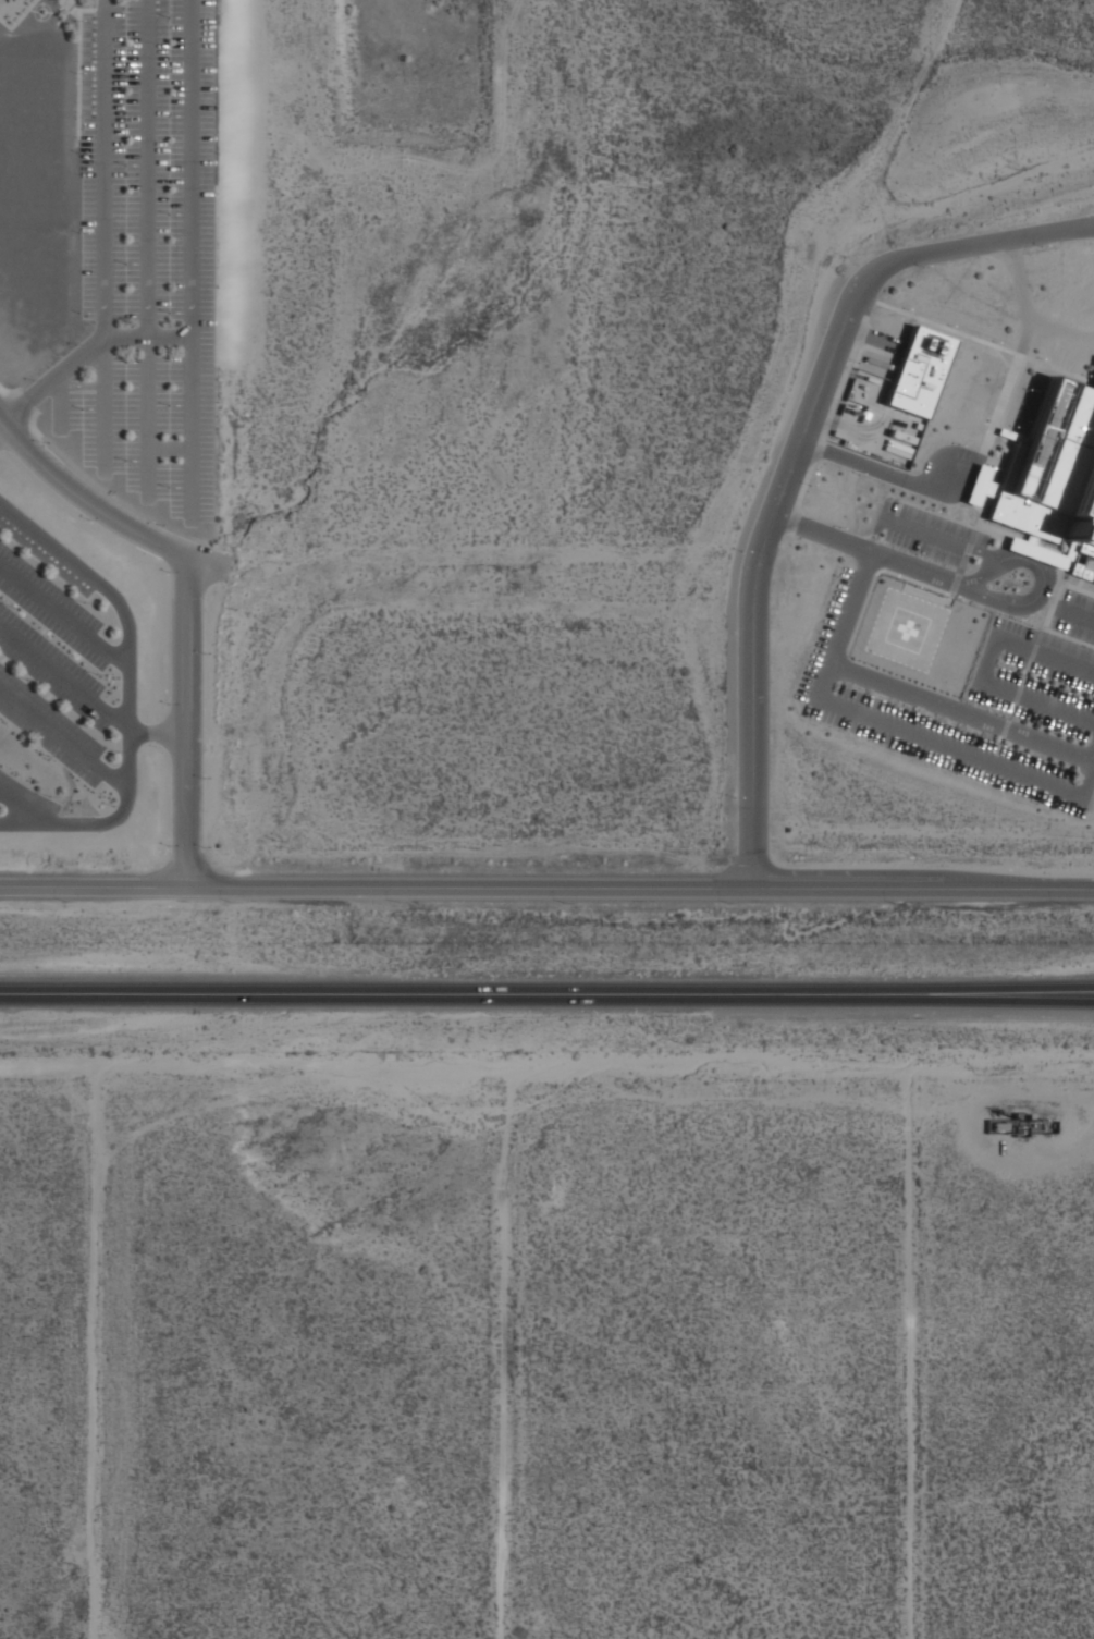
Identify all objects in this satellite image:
building: (61, 1)
road: (105, 5)
road: (105, 244)
parking lot: (149, 250)
road: (145, 252)
road: (188, 262)
street lamp: (923, 266)
road: (865, 296)
road: (1023, 303)
road: (1023, 328)
road: (870, 337)
road: (863, 341)
road: (984, 341)
road: (866, 347)
road: (83, 353)
road: (1003, 358)
street lamp: (859, 363)
building: (915, 372)
road: (82, 384)
road: (10, 391)
road: (8, 393)
road: (28, 397)
road: (3, 401)
road: (60, 403)
road: (1000, 404)
road: (29, 420)
road: (32, 423)
road: (1, 428)
road: (851, 429)
road: (169, 448)
road: (792, 460)
road: (878, 472)
building: (1048, 472)
road: (86, 501)
road: (937, 514)
road: (978, 521)
road: (876, 534)
parking lot: (926, 534)
road: (933, 534)
road: (49, 543)
road: (1025, 546)
road: (1023, 547)
road: (968, 548)
road: (863, 550)
building: (1034, 551)
road: (994, 554)
road: (1024, 558)
road: (866, 562)
road: (959, 571)
road: (877, 573)
road: (1043, 579)
road: (955, 583)
road: (1079, 584)
road: (1075, 587)
road: (950, 594)
road: (1050, 606)
road: (1053, 606)
road: (1074, 613)
road: (64, 614)
helipad: (907, 629)
road: (840, 634)
road: (1068, 636)
road: (1033, 649)
parking lot: (51, 651)
road: (1045, 651)
road: (987, 656)
parking lot: (1042, 669)
road: (1025, 672)
road: (64, 680)
road: (1017, 694)
road: (1036, 699)
road: (962, 711)
road: (1009, 715)
parking lot: (921, 719)
road: (185, 722)
road: (1005, 729)
road: (157, 733)
road: (63, 736)
road: (1000, 741)
road: (947, 746)
road: (997, 749)
road: (130, 755)
road: (993, 758)
road: (1087, 770)
road: (1081, 791)
parking lot: (25, 796)
road: (23, 807)
road: (94, 886)
road: (640, 886)
road: (546, 991)
road: (1006, 1099)

